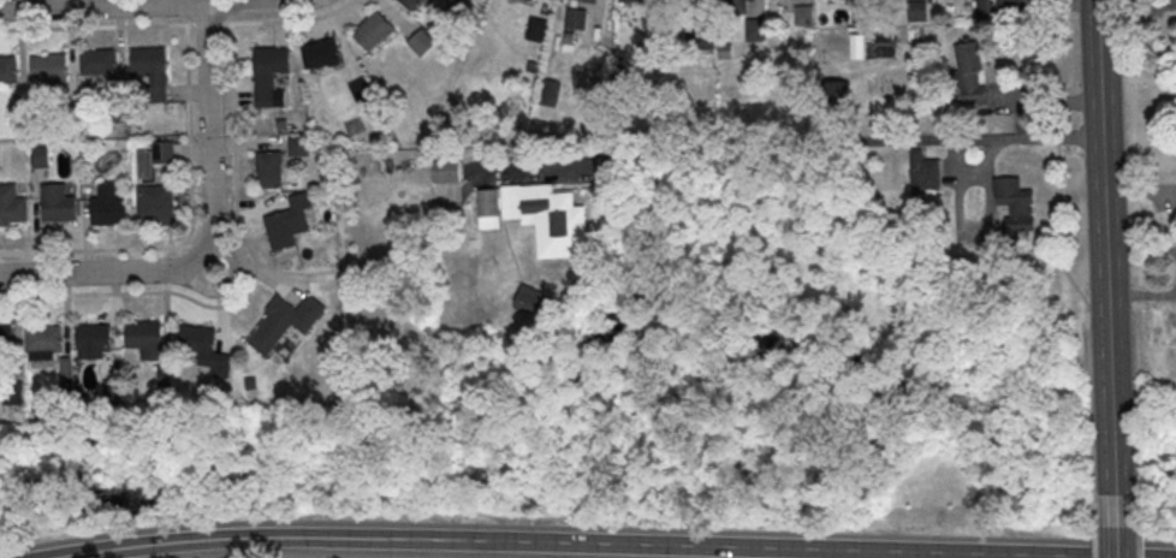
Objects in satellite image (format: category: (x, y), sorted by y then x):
building: (738, 1)
building: (588, 2)
building: (639, 2)
building: (688, 2)
building: (1008, 2)
road: (143, 4)
building: (410, 5)
road: (226, 23)
road: (207, 24)
road: (95, 26)
building: (536, 29)
building: (755, 29)
building: (373, 30)
building: (421, 41)
road: (230, 49)
building: (321, 57)
building: (147, 61)
building: (99, 64)
building: (48, 66)
building: (7, 67)
building: (970, 73)
building: (269, 76)
building: (361, 90)
building: (118, 115)
building: (18, 118)
building: (67, 124)
road: (780, 148)
building: (299, 149)
building: (162, 155)
building: (40, 159)
building: (0, 165)
building: (269, 173)
building: (447, 173)
building: (925, 176)
building: (57, 203)
building: (12, 204)
building: (155, 204)
building: (108, 207)
building: (488, 208)
building: (1014, 215)
building: (548, 220)
road: (190, 226)
building: (291, 226)
road: (1062, 227)
road: (212, 244)
road: (1107, 262)
road: (173, 292)
building: (530, 298)
building: (286, 325)
building: (145, 338)
building: (94, 340)
building: (44, 342)
building: (6, 343)
building: (203, 346)
road: (1136, 374)
building: (12, 396)
park: (641, 423)
road: (1095, 503)
road: (1142, 503)
park: (1, 514)
road: (1118, 541)
road: (565, 544)
road: (1098, 557)

